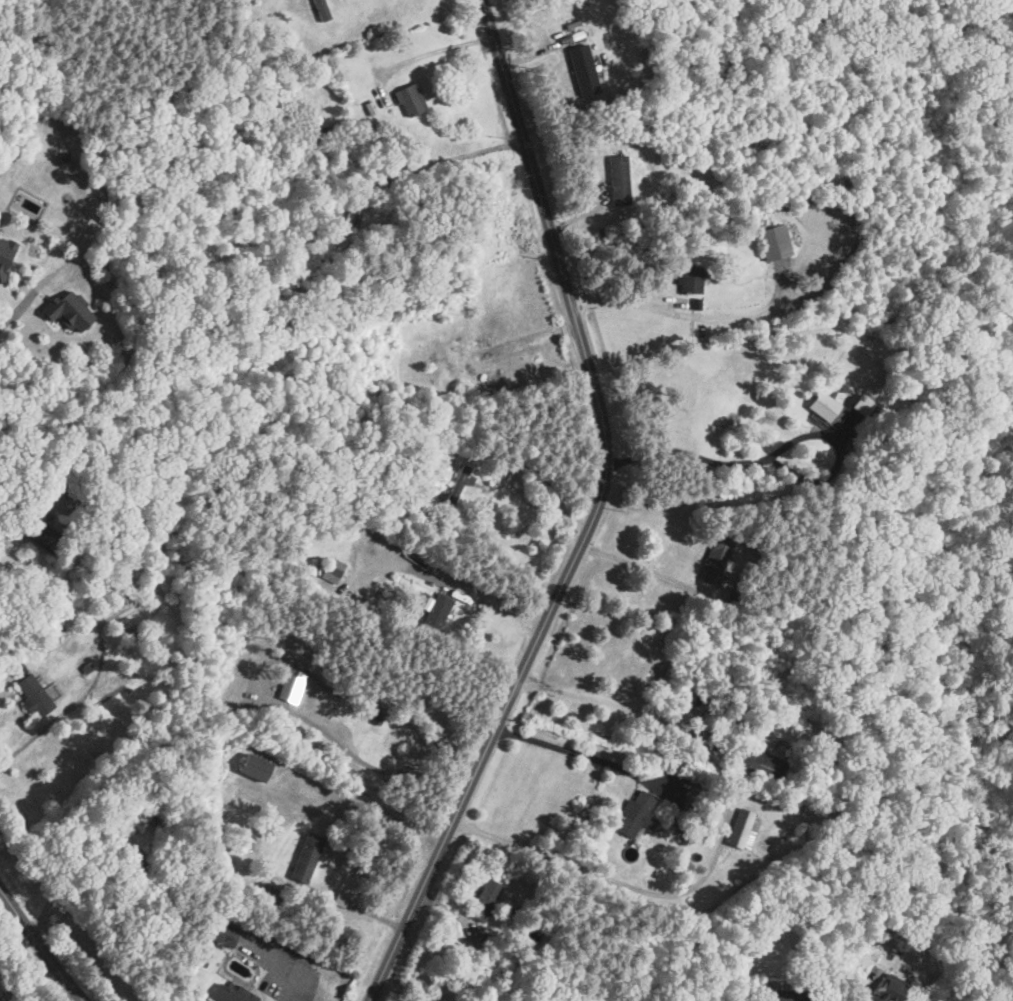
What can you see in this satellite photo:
road: (435, 52)
building: (407, 99)
building: (44, 136)
road: (448, 156)
building: (616, 179)
building: (13, 235)
building: (688, 279)
building: (109, 282)
road: (627, 301)
road: (10, 314)
building: (51, 321)
building: (460, 351)
building: (834, 412)
road: (785, 439)
road: (595, 514)
building: (39, 533)
building: (331, 570)
road: (649, 570)
road: (477, 592)
building: (435, 613)
road: (1, 688)
building: (31, 695)
building: (715, 695)
road: (625, 708)
building: (368, 733)
building: (759, 763)
building: (250, 767)
road: (366, 805)
building: (634, 818)
road: (716, 855)
building: (304, 858)
building: (482, 900)
building: (220, 933)
road: (39, 949)
building: (886, 992)
building: (229, 993)
building: (784, 995)
road: (297, 997)
road: (862, 997)

